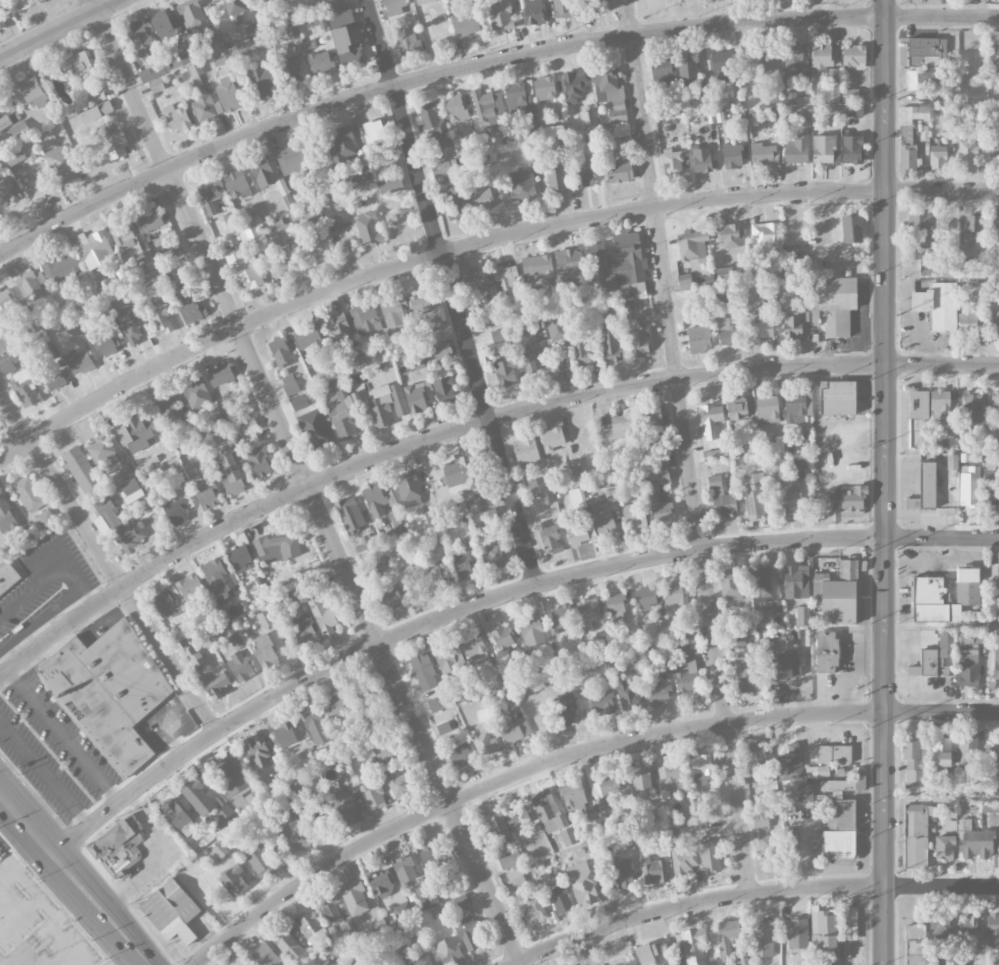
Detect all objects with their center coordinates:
building: (34, 1)
building: (266, 1)
building: (425, 1)
building: (682, 1)
building: (335, 4)
building: (395, 6)
building: (597, 6)
road: (846, 7)
building: (235, 9)
building: (561, 9)
road: (921, 9)
building: (533, 12)
building: (192, 15)
building: (500, 16)
building: (2, 19)
building: (342, 20)
building: (465, 24)
building: (164, 25)
road: (61, 29)
building: (292, 33)
building: (141, 38)
building: (251, 39)
building: (408, 42)
building: (216, 44)
building: (311, 47)
building: (347, 50)
building: (926, 51)
building: (187, 56)
building: (853, 57)
building: (998, 57)
building: (768, 59)
building: (821, 59)
building: (221, 60)
building: (794, 60)
building: (320, 62)
road: (481, 62)
building: (72, 65)
building: (687, 68)
building: (721, 69)
building: (195, 70)
building: (291, 70)
building: (662, 70)
building: (154, 72)
building: (832, 75)
building: (919, 79)
building: (261, 84)
building: (156, 85)
building: (573, 86)
building: (544, 88)
building: (32, 92)
building: (830, 93)
building: (228, 94)
building: (850, 95)
building: (97, 96)
building: (611, 96)
building: (520, 99)
power tower: (897, 99)
road: (942, 104)
building: (455, 108)
building: (206, 109)
building: (852, 110)
building: (96, 112)
building: (802, 113)
building: (176, 118)
building: (775, 118)
building: (588, 119)
building: (4, 120)
building: (911, 121)
building: (433, 127)
building: (374, 131)
building: (505, 138)
building: (113, 143)
building: (343, 144)
building: (994, 148)
building: (796, 149)
building: (824, 149)
building: (852, 150)
building: (762, 154)
building: (19, 155)
building: (532, 155)
building: (966, 155)
building: (732, 156)
building: (937, 157)
building: (362, 158)
building: (907, 158)
building: (291, 160)
building: (702, 160)
building: (672, 163)
building: (62, 165)
building: (443, 167)
building: (583, 171)
building: (619, 172)
building: (263, 174)
building: (556, 176)
building: (363, 177)
building: (237, 184)
building: (390, 185)
building: (521, 185)
building: (284, 193)
building: (210, 196)
building: (482, 199)
building: (455, 201)
building: (149, 220)
building: (973, 227)
building: (368, 229)
building: (851, 229)
building: (919, 230)
building: (993, 230)
building: (765, 234)
building: (124, 236)
building: (730, 236)
building: (259, 240)
road: (477, 244)
building: (692, 247)
building: (93, 249)
building: (173, 251)
building: (919, 253)
building: (145, 261)
building: (629, 263)
building: (568, 264)
building: (537, 267)
building: (601, 267)
building: (62, 269)
building: (243, 270)
building: (183, 271)
building: (724, 273)
building: (474, 280)
building: (507, 280)
building: (684, 282)
building: (30, 284)
building: (159, 286)
road: (451, 292)
building: (4, 296)
building: (419, 303)
building: (837, 303)
building: (937, 305)
building: (190, 309)
building: (393, 314)
power tower: (896, 315)
building: (365, 319)
building: (160, 322)
building: (967, 323)
building: (995, 323)
building: (796, 324)
building: (63, 326)
building: (556, 327)
building: (338, 328)
building: (760, 331)
building: (132, 332)
building: (726, 332)
building: (700, 339)
building: (309, 340)
building: (639, 341)
building: (105, 342)
building: (500, 342)
building: (610, 346)
building: (581, 350)
building: (49, 352)
building: (280, 352)
building: (442, 353)
building: (529, 353)
building: (414, 361)
building: (78, 362)
building: (7, 366)
building: (505, 373)
building: (220, 375)
building: (54, 380)
building: (289, 385)
building: (24, 388)
building: (443, 390)
building: (197, 394)
building: (415, 398)
building: (837, 398)
building: (299, 405)
building: (387, 405)
building: (919, 406)
building: (971, 406)
building: (797, 407)
building: (939, 407)
building: (995, 407)
building: (340, 408)
building: (168, 409)
building: (736, 409)
building: (767, 409)
building: (652, 420)
building: (710, 421)
road: (469, 425)
building: (249, 426)
building: (618, 428)
building: (316, 430)
building: (135, 431)
building: (963, 437)
building: (552, 439)
building: (916, 439)
road: (686, 447)
building: (526, 451)
building: (102, 452)
road: (942, 452)
building: (715, 455)
building: (799, 460)
building: (952, 461)
building: (259, 462)
building: (576, 470)
building: (81, 471)
building: (460, 473)
building: (232, 476)
road: (306, 482)
road: (886, 482)
building: (927, 485)
building: (969, 486)
building: (532, 487)
building: (409, 488)
building: (991, 490)
building: (131, 491)
building: (28, 494)
building: (204, 494)
building: (754, 495)
building: (786, 496)
building: (577, 498)
building: (659, 498)
building: (721, 498)
building: (853, 498)
building: (912, 504)
building: (375, 508)
building: (177, 510)
building: (349, 515)
building: (488, 516)
building: (635, 516)
building: (6, 517)
building: (45, 518)
building: (430, 518)
building: (603, 518)
building: (120, 527)
building: (576, 532)
building: (436, 535)
building: (549, 539)
building: (277, 548)
power tower: (896, 550)
building: (239, 558)
building: (494, 558)
road: (107, 564)
building: (462, 565)
building: (846, 569)
building: (995, 572)
road: (50, 575)
building: (219, 577)
building: (428, 577)
building: (8, 580)
building: (796, 582)
building: (761, 583)
building: (730, 585)
building: (967, 586)
building: (187, 590)
building: (676, 593)
building: (388, 595)
building: (645, 597)
road: (491, 599)
building: (836, 600)
building: (933, 601)
building: (301, 602)
building: (165, 605)
building: (615, 610)
building: (588, 612)
building: (803, 615)
building: (560, 618)
building: (325, 619)
building: (266, 620)
building: (683, 625)
building: (662, 626)
road: (942, 626)
building: (532, 630)
building: (226, 631)
building: (300, 632)
building: (503, 638)
building: (738, 641)
building: (473, 646)
building: (264, 651)
building: (826, 652)
building: (194, 656)
building: (969, 656)
building: (931, 659)
building: (449, 662)
building: (996, 665)
building: (239, 667)
building: (784, 668)
building: (424, 672)
building: (686, 674)
building: (745, 675)
building: (216, 682)
building: (109, 693)
building: (626, 695)
building: (659, 695)
building: (367, 702)
building: (600, 703)
building: (437, 704)
building: (335, 709)
building: (566, 709)
power tower: (896, 723)
building: (315, 726)
building: (443, 728)
building: (515, 730)
building: (285, 735)
road: (63, 736)
building: (483, 741)
building: (967, 750)
building: (256, 751)
building: (940, 751)
building: (995, 752)
building: (752, 753)
building: (460, 755)
building: (833, 755)
road: (570, 756)
building: (384, 758)
building: (913, 760)
building: (701, 769)
building: (817, 771)
road: (44, 772)
building: (231, 774)
building: (672, 775)
building: (641, 778)
building: (399, 784)
building: (610, 784)
building: (836, 787)
building: (804, 793)
building: (372, 794)
building: (574, 796)
building: (198, 797)
building: (761, 799)
road: (942, 799)
building: (345, 806)
building: (548, 812)
building: (227, 816)
building: (178, 817)
building: (518, 818)
building: (594, 821)
building: (760, 821)
building: (320, 823)
road: (26, 828)
building: (837, 832)
building: (499, 833)
building: (916, 835)
building: (293, 836)
building: (568, 837)
building: (118, 844)
building: (976, 844)
building: (766, 848)
building: (944, 848)
building: (220, 850)
building: (709, 855)
building: (431, 857)
road: (155, 860)
building: (509, 860)
building: (684, 860)
building: (260, 861)
building: (404, 869)
building: (653, 871)
power tower: (896, 873)
building: (621, 874)
road: (67, 875)
building: (515, 879)
building: (582, 880)
building: (233, 882)
road: (30, 885)
building: (381, 885)
building: (426, 892)
road: (750, 893)
building: (355, 899)
building: (560, 900)
building: (458, 903)
building: (169, 905)
road: (67, 907)
building: (533, 910)
building: (435, 911)
building: (332, 914)
road: (20, 915)
building: (968, 928)
road: (113, 929)
building: (312, 929)
building: (823, 930)
building: (941, 930)
building: (992, 931)
building: (763, 932)
building: (470, 933)
building: (849, 933)
building: (797, 934)
building: (727, 937)
road: (65, 944)
building: (694, 945)
building: (290, 947)
building: (916, 947)
building: (448, 952)
building: (647, 954)
building: (264, 956)
building: (421, 961)
road: (2, 962)
building: (238, 963)
building: (679, 963)
road: (24, 964)

